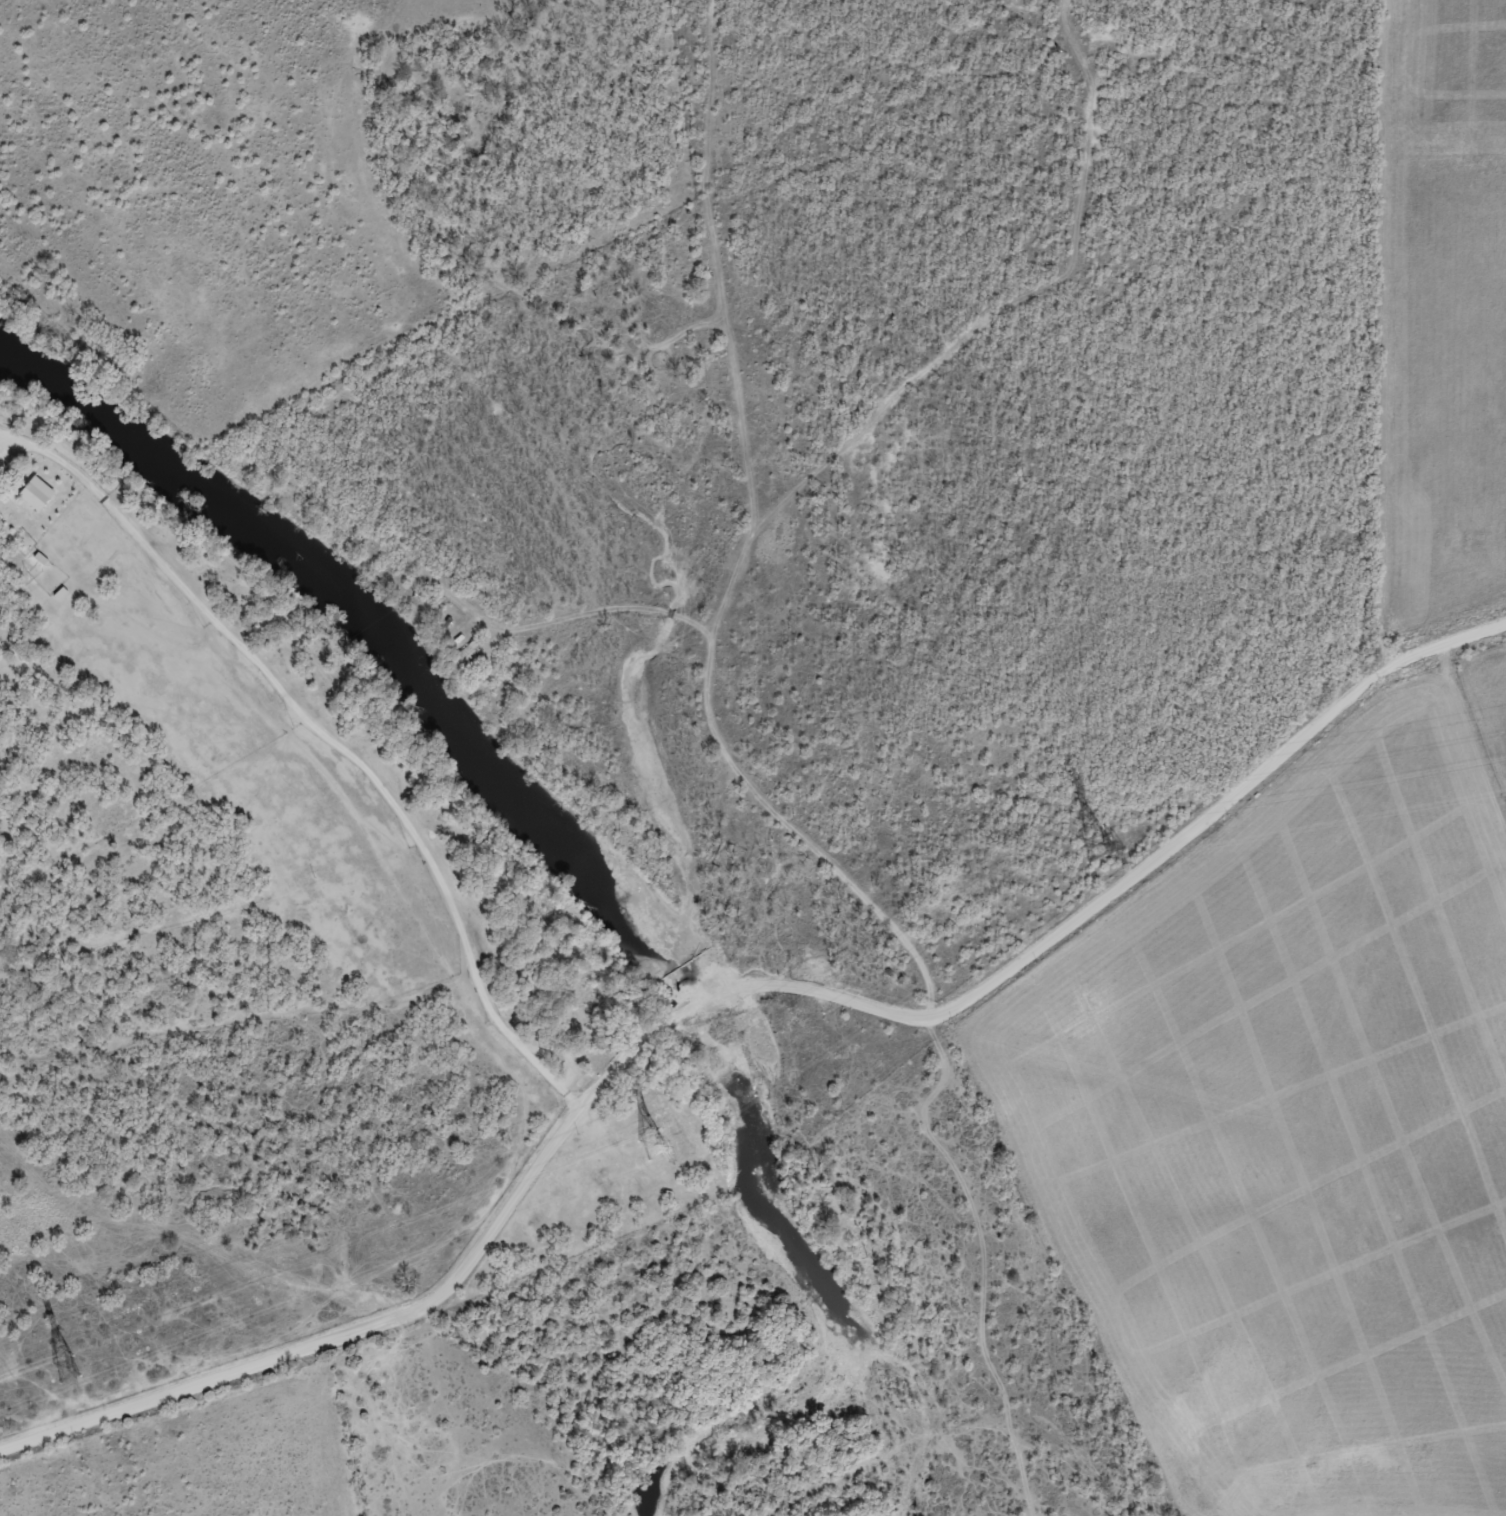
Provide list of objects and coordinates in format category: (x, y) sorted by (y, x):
building: (0, 467)
building: (35, 496)
building: (467, 657)
power tower: (1094, 851)
road: (719, 1015)
power tower: (652, 1147)
power tower: (66, 1371)

